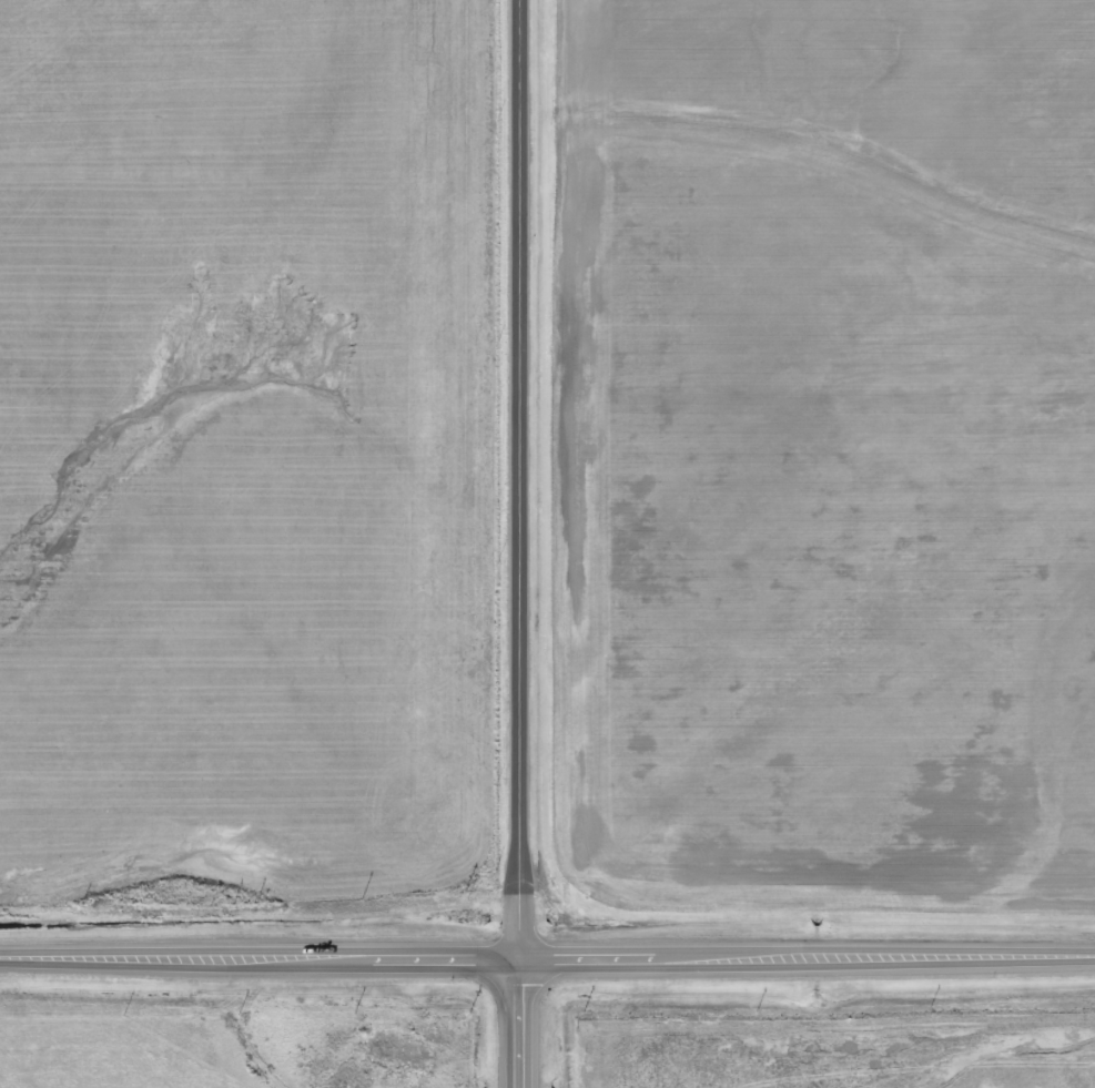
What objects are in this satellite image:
road: (520, 479)
road: (805, 957)
road: (258, 958)
road: (517, 1023)

